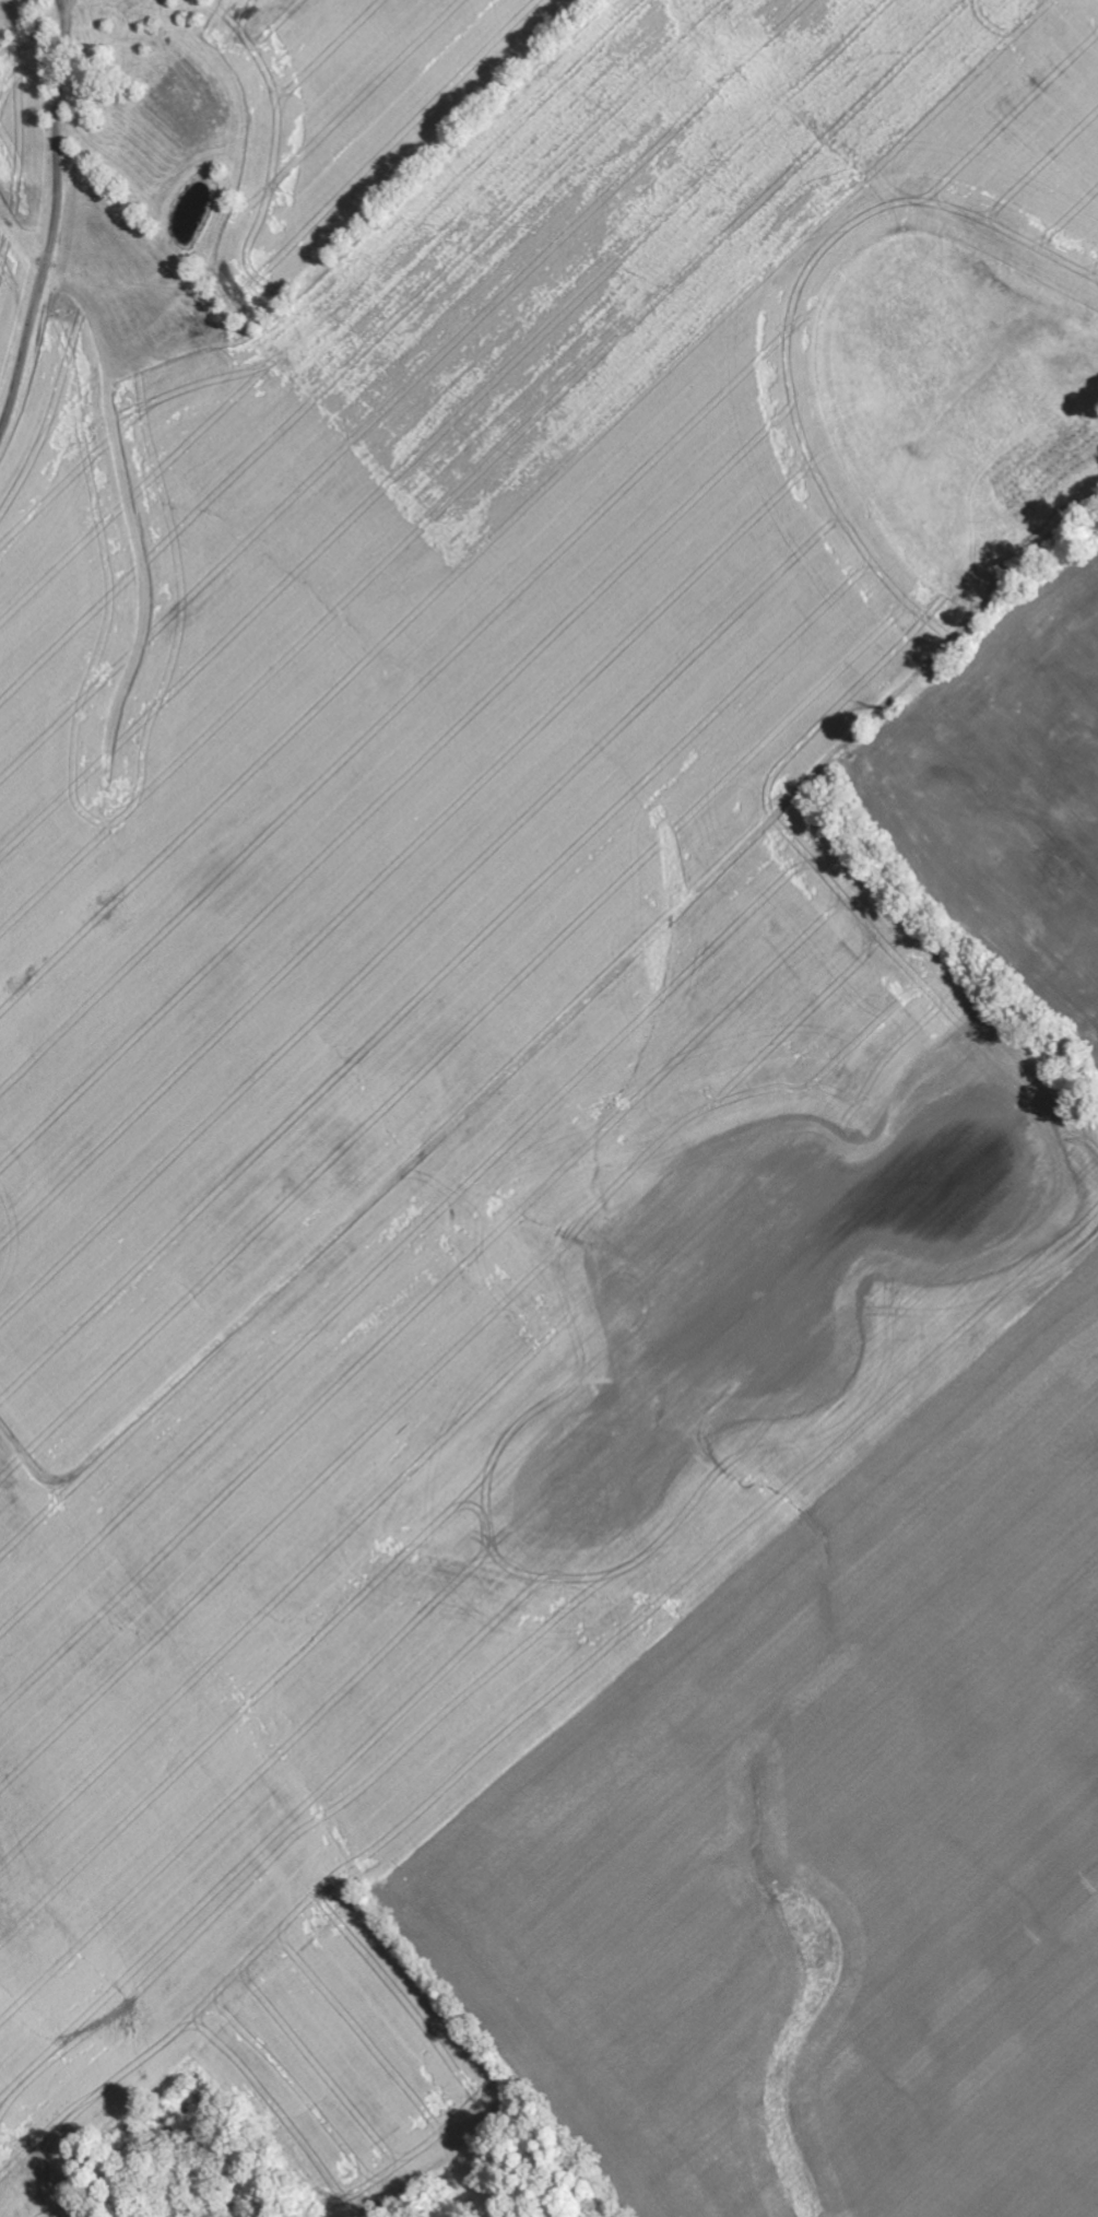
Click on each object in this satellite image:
road: (52, 218)
park: (542, 2166)

